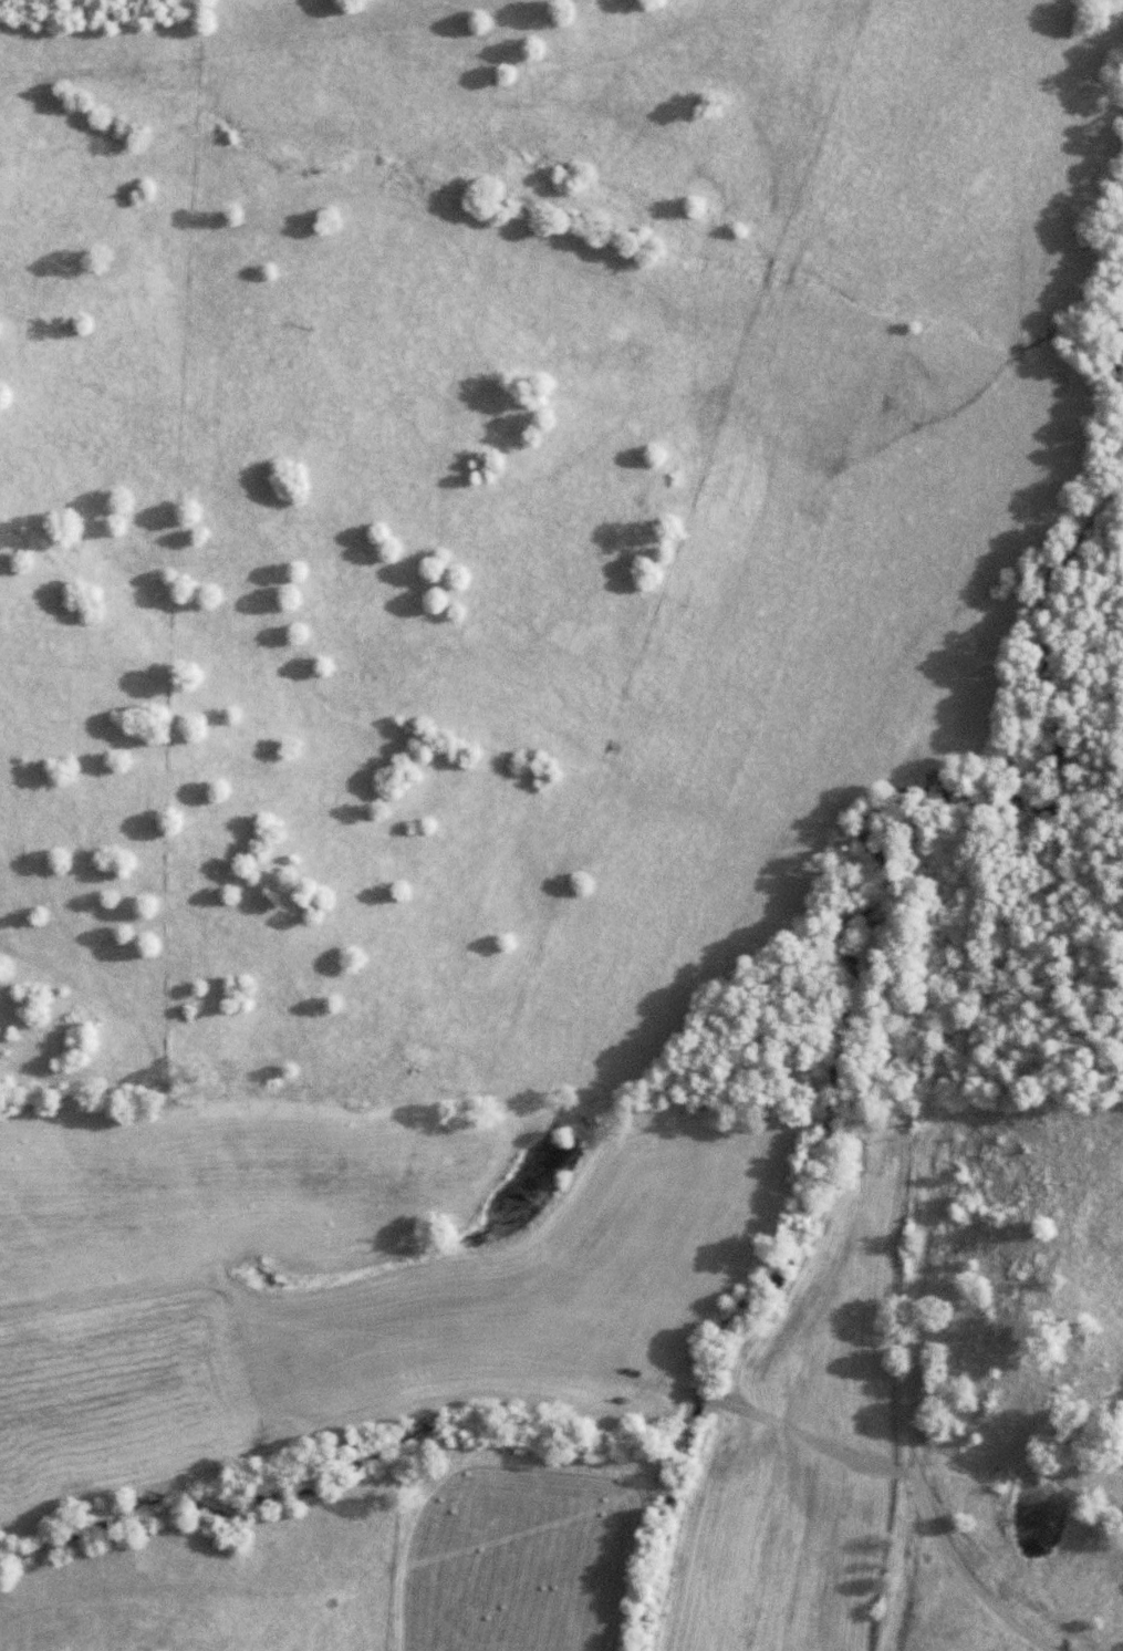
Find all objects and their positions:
building: (1115, 1649)

